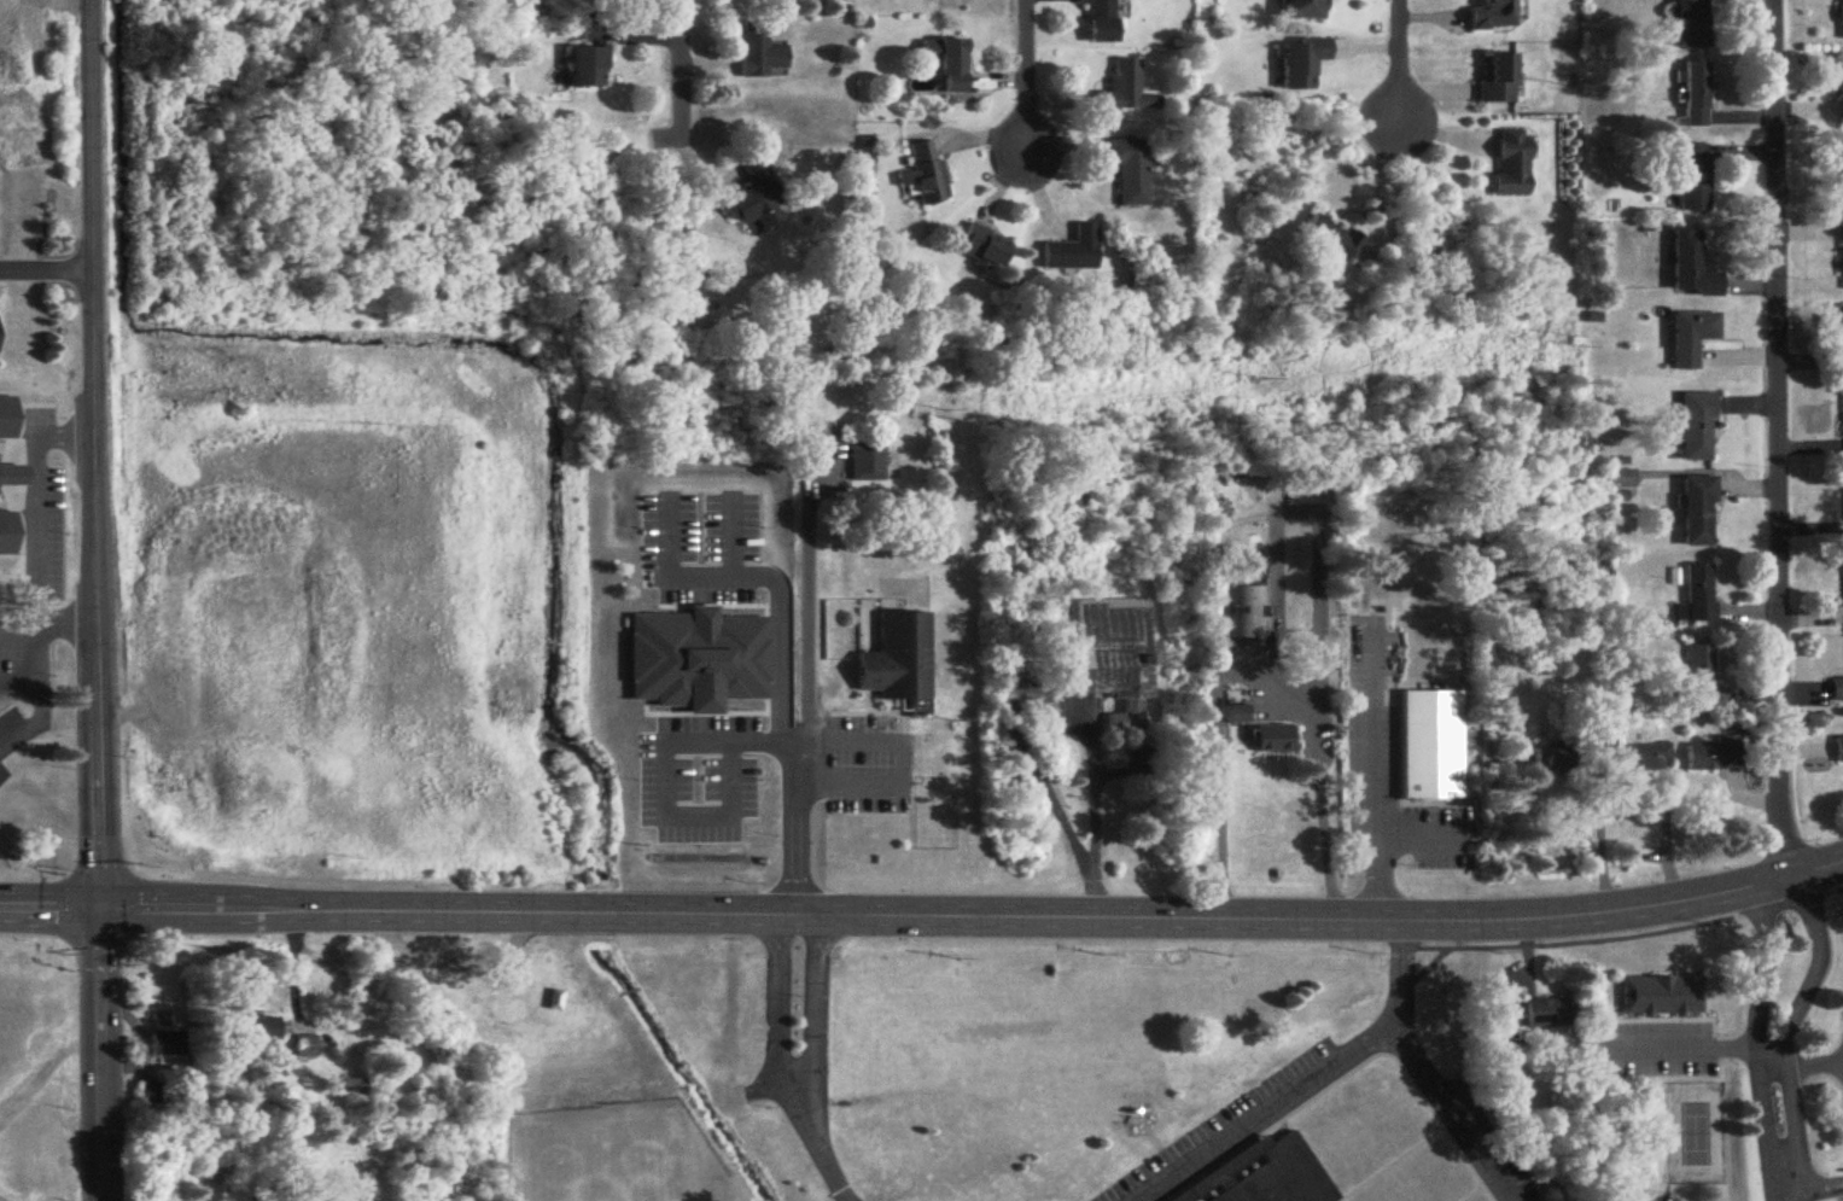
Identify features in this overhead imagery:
building: (1302, 10)
building: (1493, 17)
building: (1102, 21)
building: (1842, 22)
building: (1691, 24)
building: (760, 53)
building: (947, 64)
building: (1300, 64)
building: (587, 69)
road: (680, 69)
road: (1398, 76)
building: (1498, 81)
road: (1026, 82)
building: (1126, 92)
building: (1696, 95)
building: (1514, 164)
building: (1842, 170)
building: (1130, 171)
building: (925, 176)
building: (1695, 179)
building: (758, 198)
building: (680, 238)
building: (1329, 245)
building: (984, 247)
building: (1074, 251)
building: (1691, 266)
road: (45, 274)
building: (1692, 338)
building: (1842, 338)
building: (1697, 427)
road: (1779, 438)
building: (868, 464)
building: (1699, 512)
building: (1258, 571)
road: (37, 572)
building: (1698, 593)
road: (813, 594)
road: (93, 600)
building: (1248, 612)
road: (66, 620)
building: (1116, 657)
building: (898, 659)
building: (1699, 674)
road: (1250, 680)
building: (1837, 690)
road: (770, 696)
building: (1236, 706)
building: (1598, 734)
building: (1839, 750)
road: (894, 757)
building: (1713, 757)
building: (1551, 758)
building: (1646, 758)
road: (654, 789)
road: (1369, 805)
road: (1600, 836)
traffic signals: (98, 905)
road: (923, 913)
building: (1662, 997)
road: (805, 998)
building: (555, 1001)
building: (1549, 1013)
road: (1796, 1013)
road: (1755, 1021)
building: (262, 1031)
building: (168, 1043)
building: (305, 1048)
road: (1697, 1049)
road: (1838, 1062)
road: (1423, 1067)
road: (1815, 1067)
road: (43, 1072)
building: (354, 1086)
building: (150, 1094)
road: (1259, 1112)
road: (820, 1145)
building: (1272, 1173)
road: (1813, 1179)
road: (1781, 1182)

